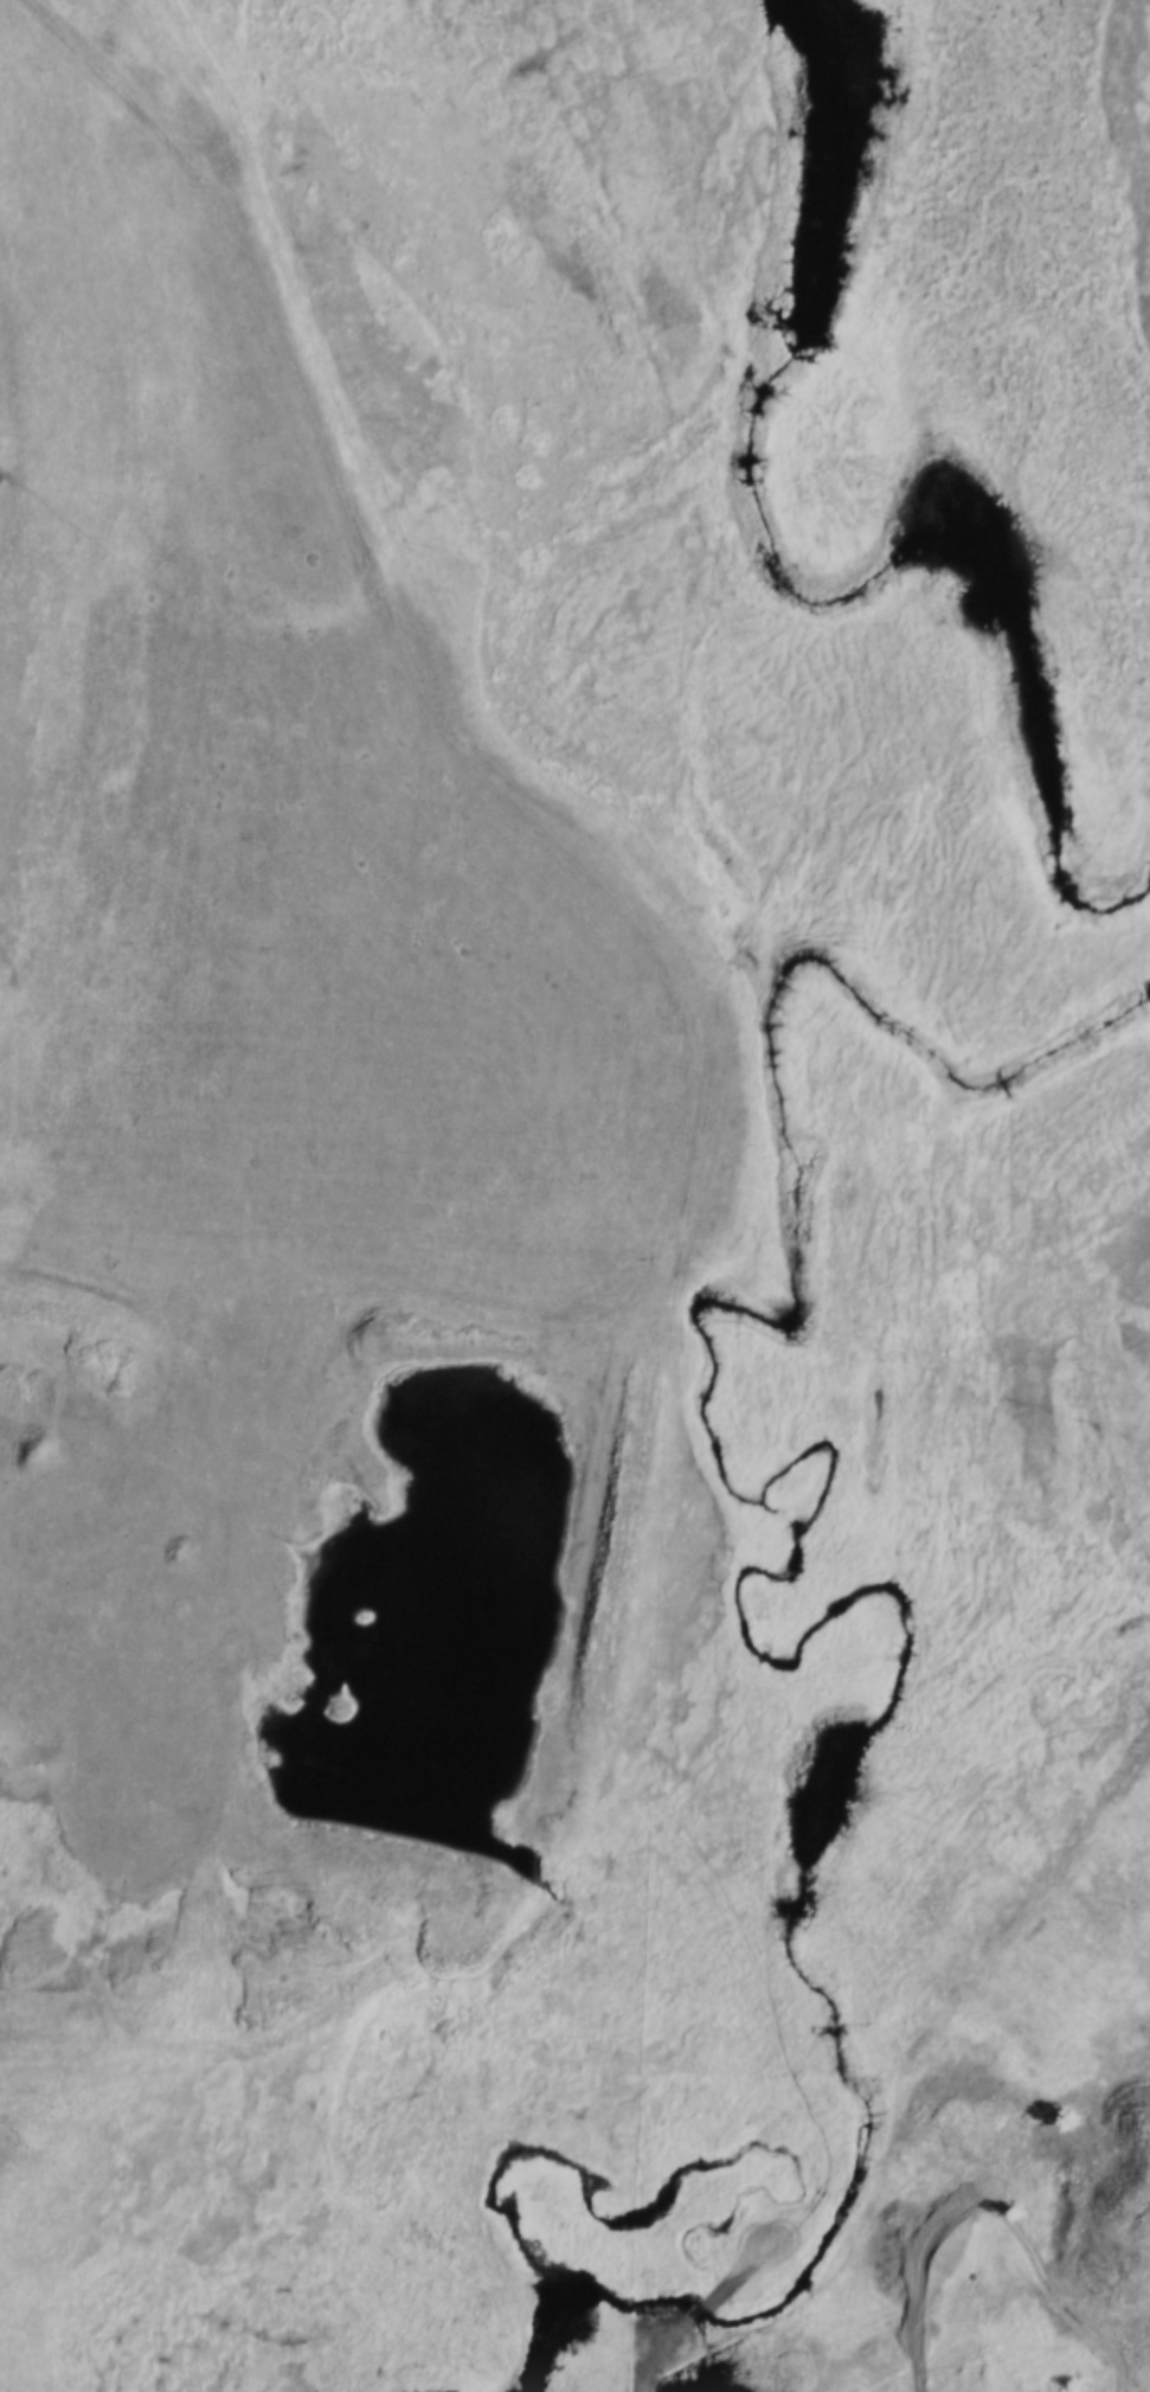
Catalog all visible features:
quarry: (322, 1649)

